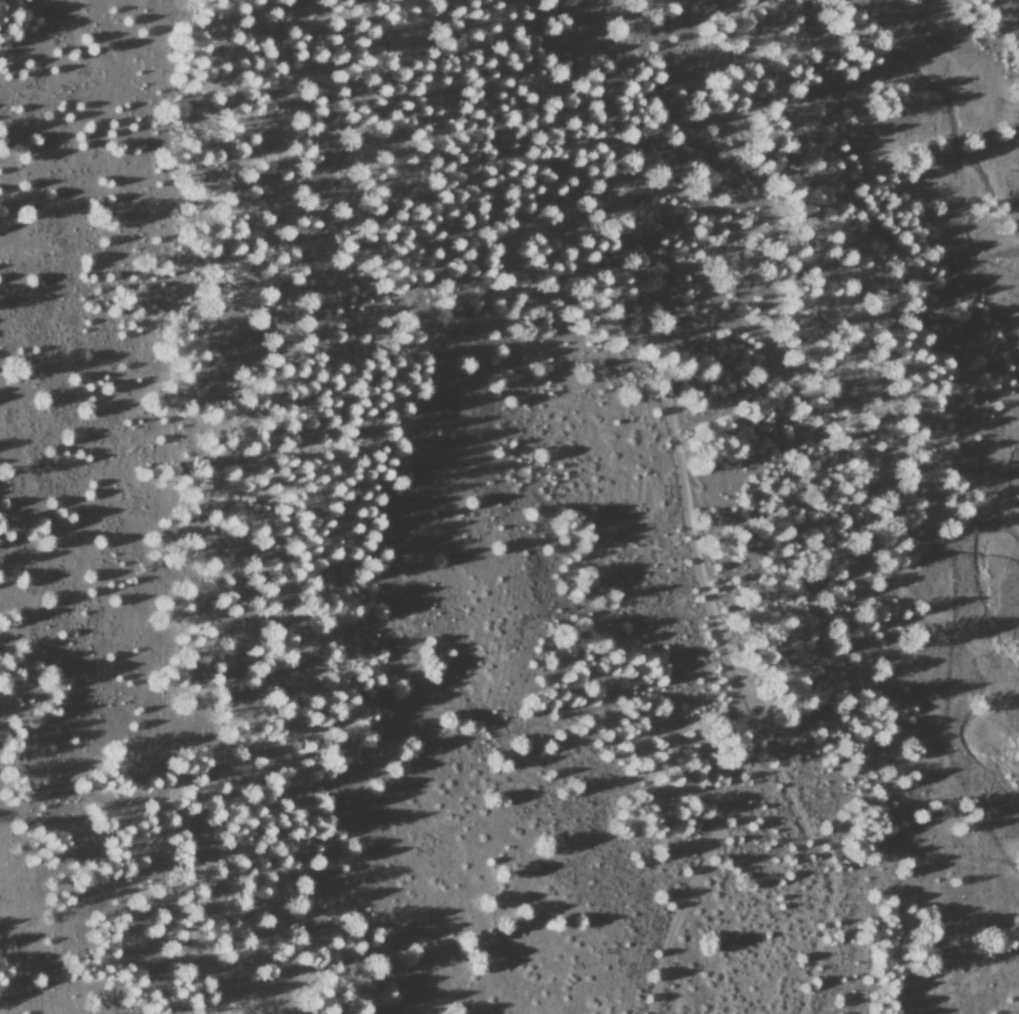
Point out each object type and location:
road: (714, 510)

